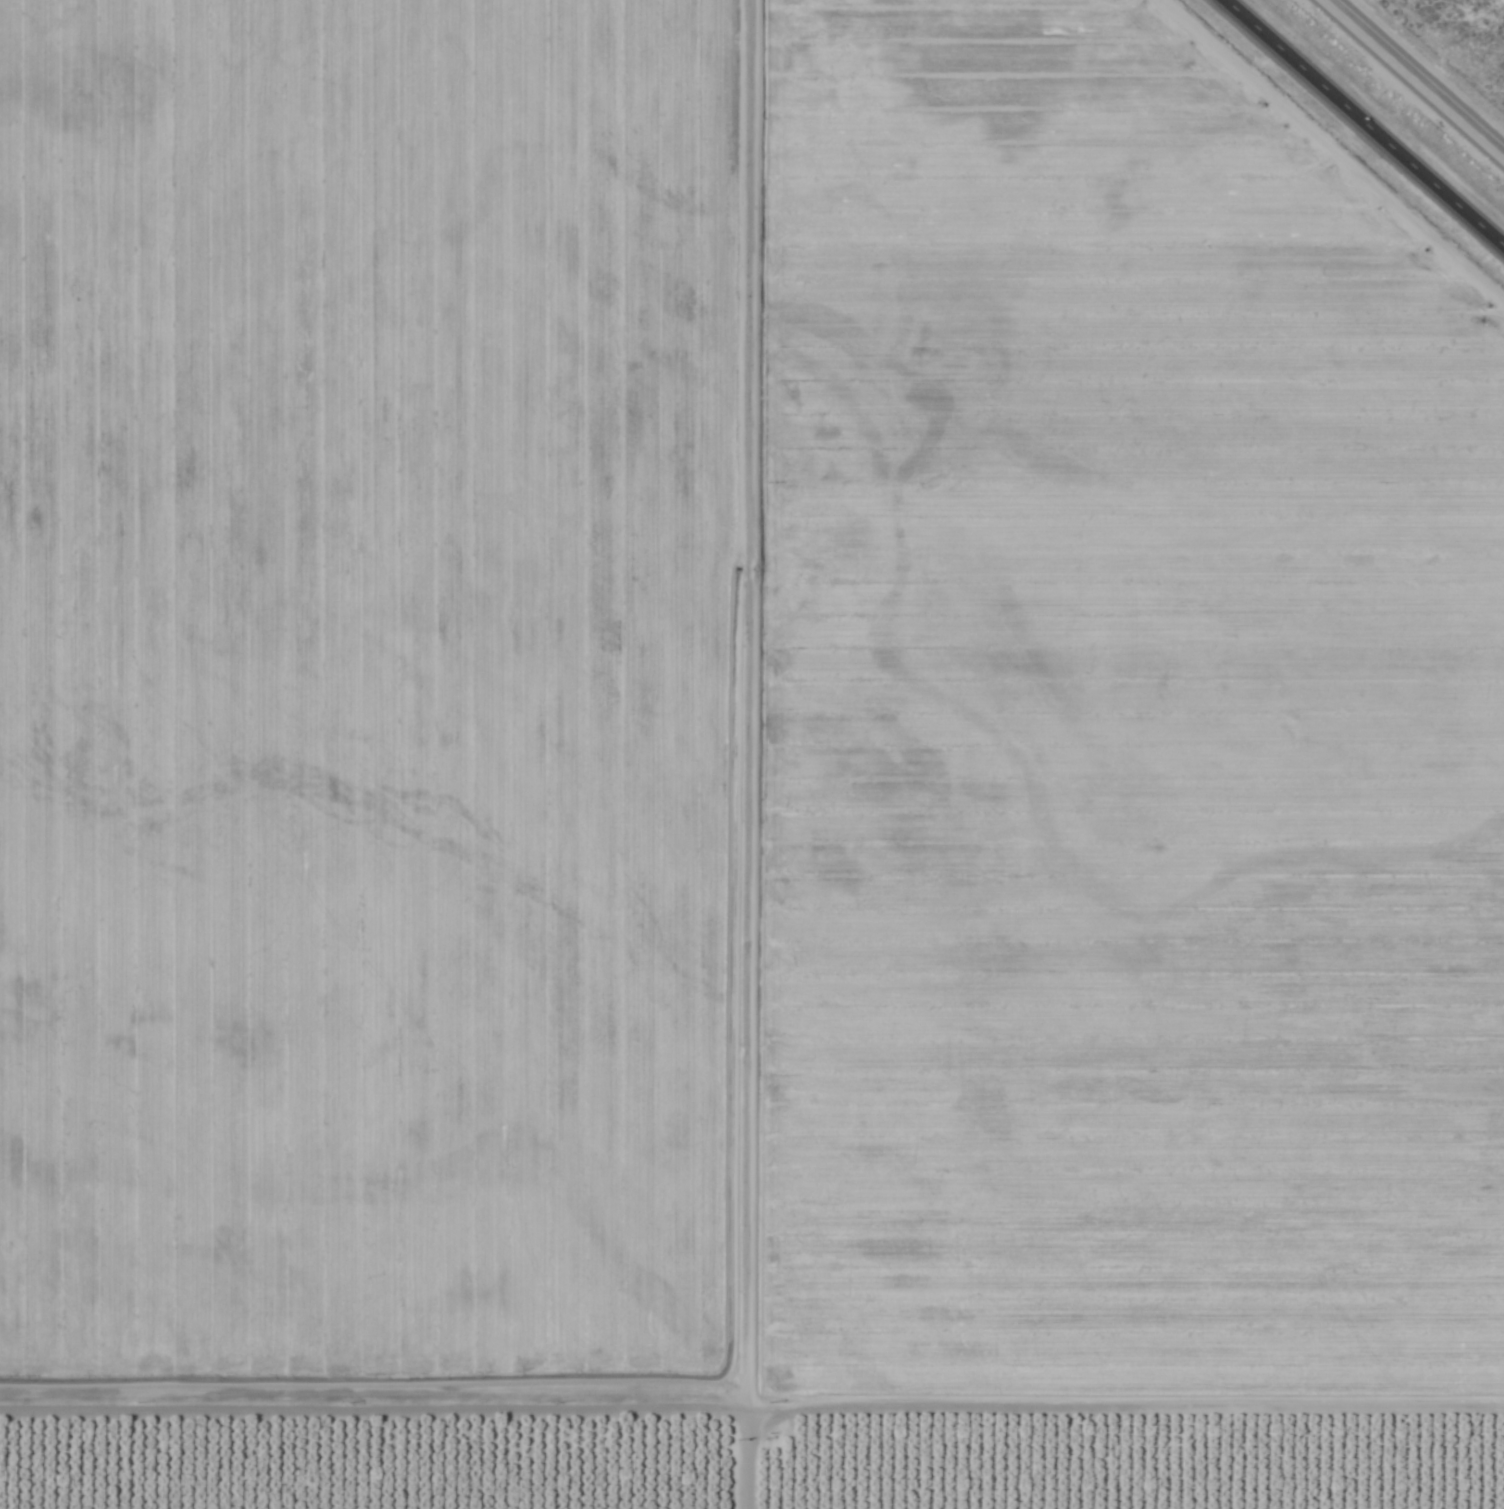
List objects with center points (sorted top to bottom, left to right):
crop: (1451, 46)
road: (1416, 76)
road: (1360, 126)
crop: (734, 772)

